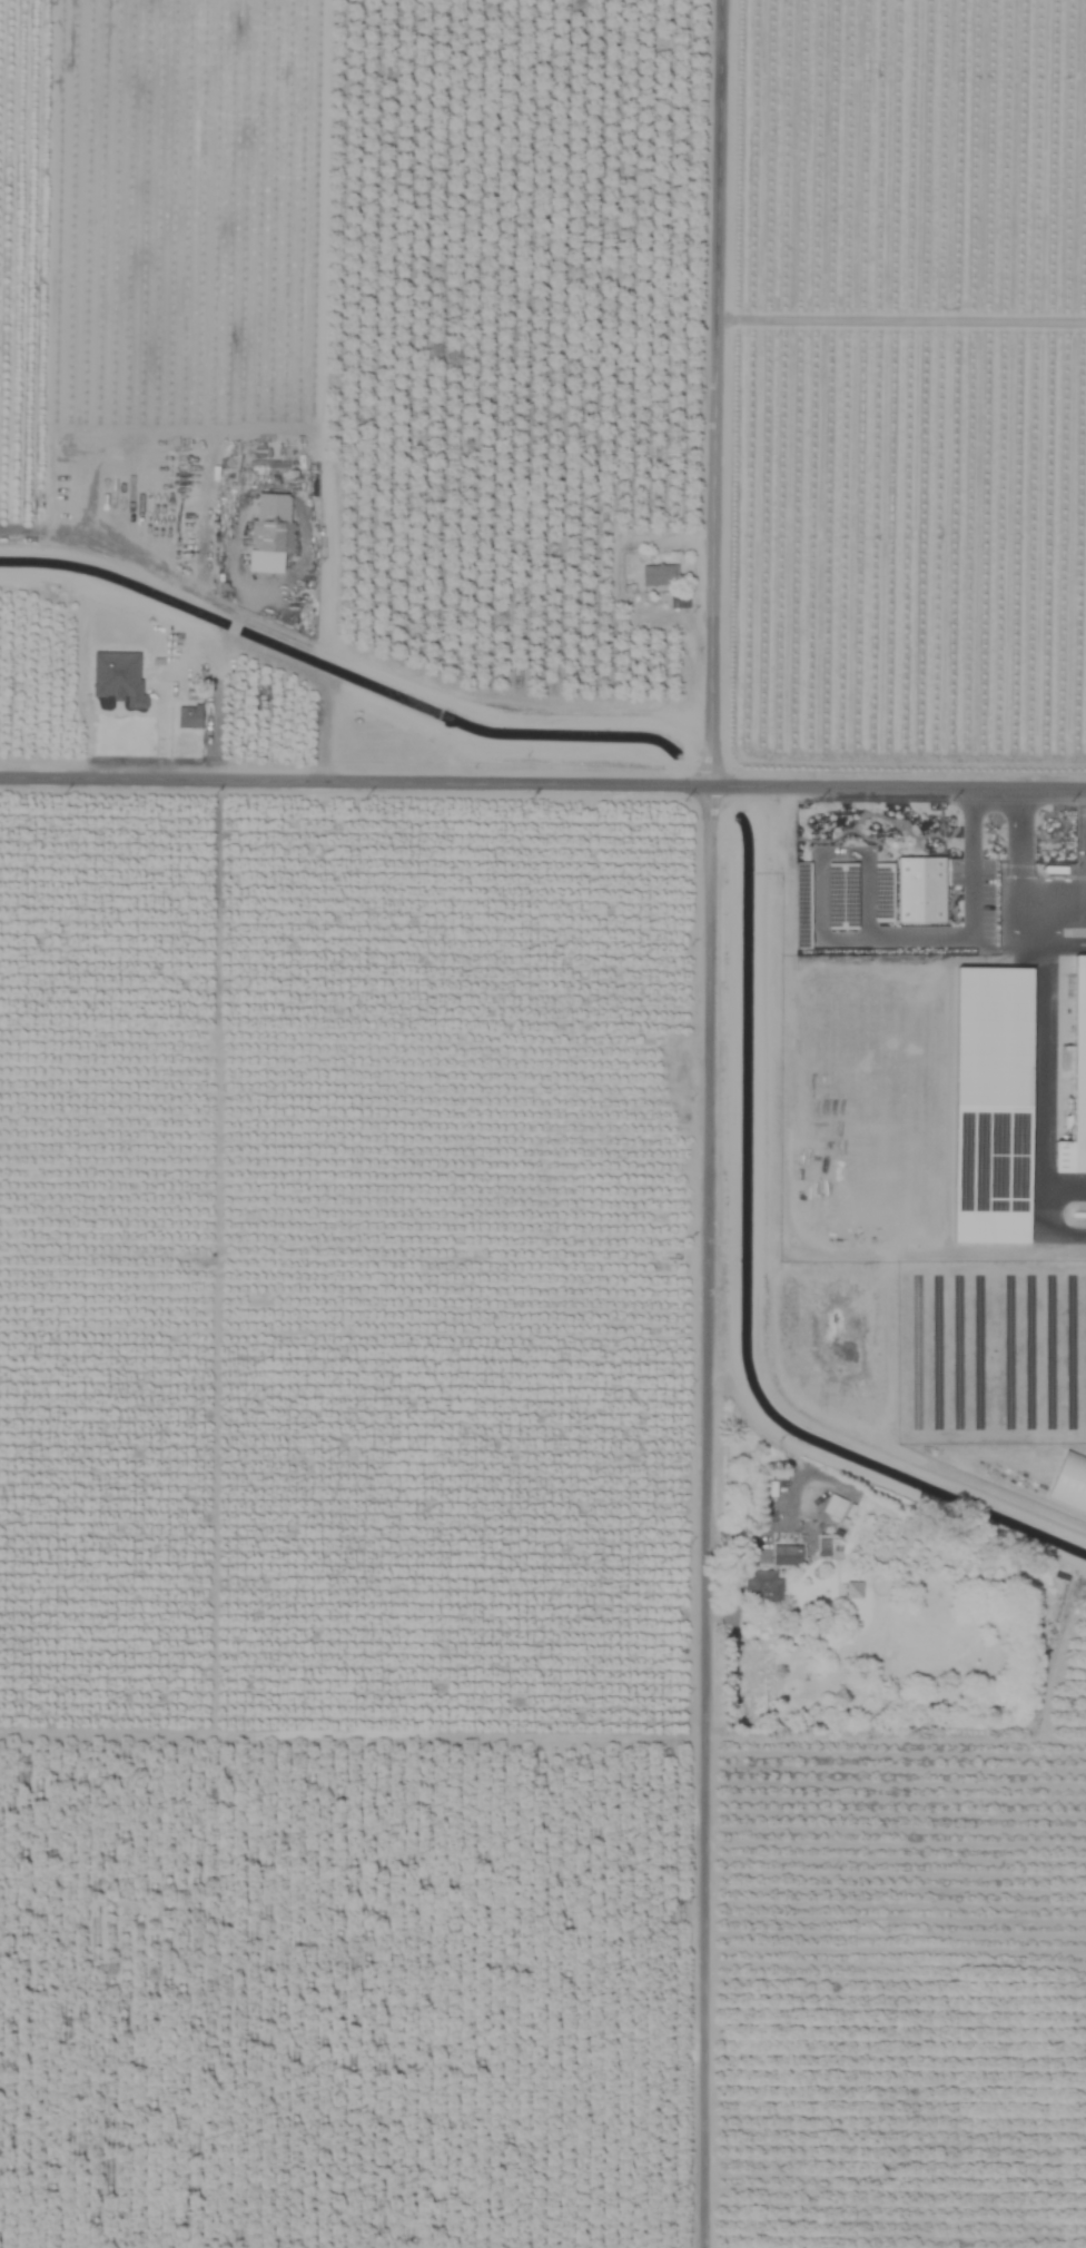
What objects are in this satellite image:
road: (901, 321)
road: (715, 440)
building: (269, 533)
building: (659, 575)
building: (117, 679)
building: (188, 716)
road: (1082, 764)
road: (543, 780)
road: (1018, 870)
building: (919, 890)
road: (870, 938)
building: (1076, 1082)
building: (988, 1100)
crop: (543, 1123)
building: (1069, 1483)
building: (833, 1506)
road: (705, 1514)
building: (786, 1555)
building: (762, 1587)
building: (852, 1590)

